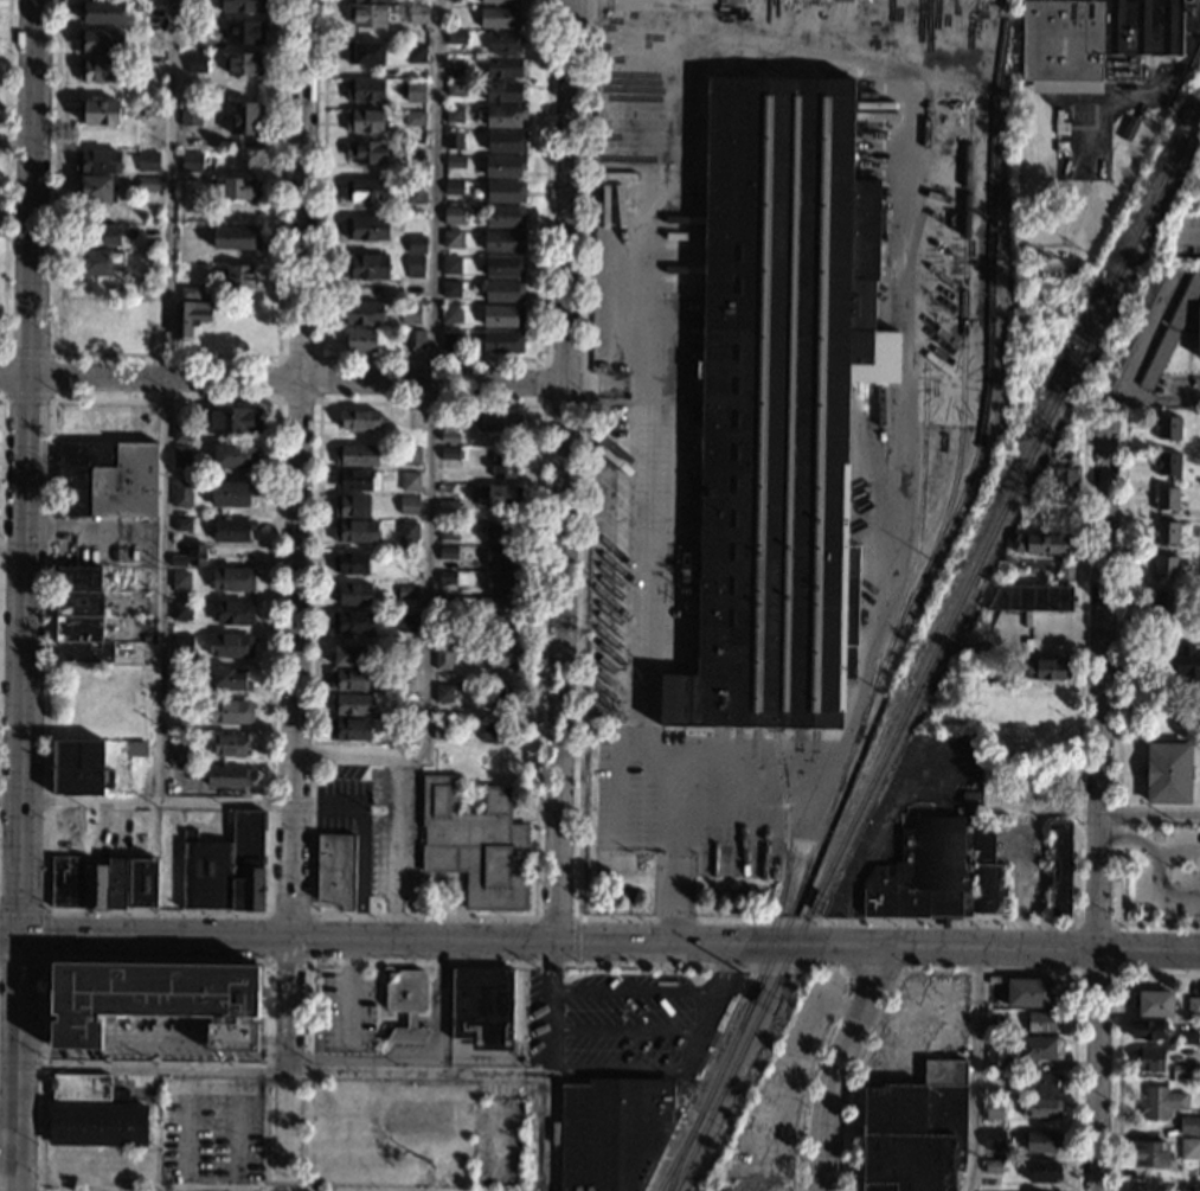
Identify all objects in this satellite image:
building: (371, 0)
building: (150, 1)
building: (500, 1)
building: (191, 4)
building: (242, 6)
building: (140, 8)
building: (103, 12)
building: (417, 14)
building: (367, 15)
building: (499, 17)
building: (245, 32)
building: (456, 37)
building: (1093, 38)
building: (103, 41)
building: (503, 41)
building: (365, 52)
building: (416, 53)
building: (454, 60)
building: (197, 63)
building: (245, 64)
building: (503, 68)
building: (1127, 69)
building: (100, 70)
building: (365, 89)
building: (455, 89)
building: (415, 91)
building: (503, 91)
road: (1140, 95)
building: (150, 109)
building: (101, 113)
building: (454, 114)
building: (190, 115)
building: (505, 116)
building: (415, 117)
building: (245, 119)
building: (364, 120)
building: (454, 140)
building: (506, 142)
building: (365, 152)
building: (415, 152)
building: (98, 161)
building: (147, 161)
building: (191, 161)
building: (455, 161)
building: (503, 166)
road: (4, 177)
building: (148, 184)
building: (453, 187)
building: (96, 188)
building: (236, 188)
building: (366, 191)
building: (506, 191)
building: (415, 192)
building: (453, 214)
building: (505, 216)
building: (368, 229)
building: (97, 235)
building: (233, 237)
building: (453, 239)
building: (503, 241)
building: (416, 244)
building: (101, 262)
building: (450, 264)
building: (366, 265)
building: (415, 265)
building: (503, 267)
building: (239, 276)
building: (450, 288)
road: (649, 288)
building: (503, 290)
building: (188, 292)
building: (223, 309)
building: (95, 310)
building: (364, 313)
building: (410, 314)
building: (451, 314)
building: (188, 315)
building: (502, 315)
building: (1169, 331)
building: (1198, 332)
building: (413, 338)
building: (360, 339)
building: (1127, 339)
building: (451, 341)
building: (501, 341)
railway: (962, 348)
road: (25, 353)
road: (163, 353)
road: (430, 358)
road: (1132, 369)
road: (0, 376)
road: (50, 376)
road: (282, 379)
road: (24, 398)
road: (165, 402)
road: (274, 402)
road: (315, 402)
road: (541, 402)
road: (540, 404)
building: (778, 406)
building: (610, 412)
building: (235, 420)
building: (359, 420)
building: (500, 421)
building: (1167, 427)
building: (181, 430)
building: (449, 437)
road: (429, 442)
building: (449, 453)
building: (410, 454)
building: (181, 455)
building: (357, 455)
building: (232, 456)
building: (502, 463)
building: (1167, 463)
building: (1065, 470)
building: (107, 479)
building: (357, 479)
building: (410, 481)
building: (181, 493)
building: (231, 494)
building: (495, 495)
building: (1166, 499)
building: (409, 505)
building: (352, 506)
building: (447, 510)
railway: (919, 513)
building: (181, 524)
building: (231, 530)
building: (354, 530)
building: (448, 530)
building: (408, 531)
building: (499, 533)
building: (1166, 533)
road: (296, 534)
building: (1041, 544)
building: (190, 556)
building: (448, 557)
building: (499, 557)
building: (353, 564)
building: (1166, 566)
building: (141, 572)
building: (447, 577)
building: (232, 578)
building: (179, 580)
building: (500, 583)
building: (78, 590)
building: (406, 591)
building: (354, 594)
building: (1037, 594)
road: (26, 595)
road: (562, 595)
building: (1164, 602)
building: (447, 606)
railway: (905, 609)
building: (180, 610)
building: (235, 613)
building: (496, 616)
building: (406, 622)
building: (352, 623)
road: (668, 630)
building: (81, 640)
building: (182, 645)
building: (230, 645)
railway: (936, 651)
building: (405, 654)
building: (349, 655)
building: (443, 655)
building: (506, 655)
building: (200, 662)
building: (1187, 664)
building: (1047, 668)
building: (178, 677)
building: (230, 678)
building: (348, 680)
building: (443, 693)
building: (502, 698)
railway: (866, 699)
building: (402, 703)
building: (352, 704)
building: (230, 712)
road: (1117, 713)
building: (1194, 721)
building: (405, 726)
building: (349, 729)
building: (443, 729)
building: (496, 732)
building: (406, 737)
building: (229, 744)
building: (135, 748)
building: (178, 755)
building: (79, 768)
building: (1168, 773)
building: (229, 779)
building: (470, 790)
road: (917, 792)
building: (1040, 796)
building: (970, 798)
building: (994, 798)
road: (146, 802)
road: (1099, 805)
road: (1149, 815)
railway: (787, 817)
railway: (813, 821)
building: (475, 843)
road: (396, 847)
road: (1177, 856)
building: (224, 867)
road: (1155, 867)
building: (335, 869)
building: (1060, 869)
building: (925, 872)
building: (988, 875)
building: (66, 881)
building: (116, 883)
building: (142, 883)
railway: (784, 883)
building: (95, 886)
road: (553, 918)
road: (611, 918)
traffic signals: (18, 935)
road: (44, 935)
road: (423, 941)
road: (575, 941)
road: (865, 945)
road: (1041, 946)
road: (310, 962)
road: (873, 971)
road: (982, 971)
road: (1116, 974)
road: (634, 990)
building: (1031, 992)
building: (155, 999)
building: (406, 1003)
building: (1155, 1004)
building: (482, 1006)
road: (707, 1006)
building: (1193, 1006)
road: (274, 1010)
building: (1041, 1022)
building: (996, 1026)
road: (624, 1027)
building: (1147, 1030)
road: (34, 1037)
road: (76, 1037)
building: (1187, 1037)
road: (154, 1038)
parking lot: (156, 1038)
road: (232, 1038)
road: (274, 1038)
road: (1117, 1042)
building: (1039, 1048)
building: (1169, 1048)
road: (309, 1049)
road: (417, 1057)
building: (997, 1058)
building: (1150, 1058)
road: (840, 1064)
road: (615, 1067)
road: (974, 1068)
road: (274, 1070)
building: (1185, 1071)
building: (995, 1080)
building: (1045, 1083)
road: (206, 1086)
building: (471, 1090)
building: (1161, 1102)
building: (1044, 1108)
building: (994, 1113)
building: (94, 1114)
building: (1189, 1125)
parking lot: (211, 1129)
building: (916, 1131)
building: (612, 1132)
building: (994, 1139)
building: (1042, 1140)
building: (1189, 1148)
railway: (679, 1152)
building: (1148, 1153)
building: (993, 1166)
building: (1044, 1171)
road: (155, 1186)

